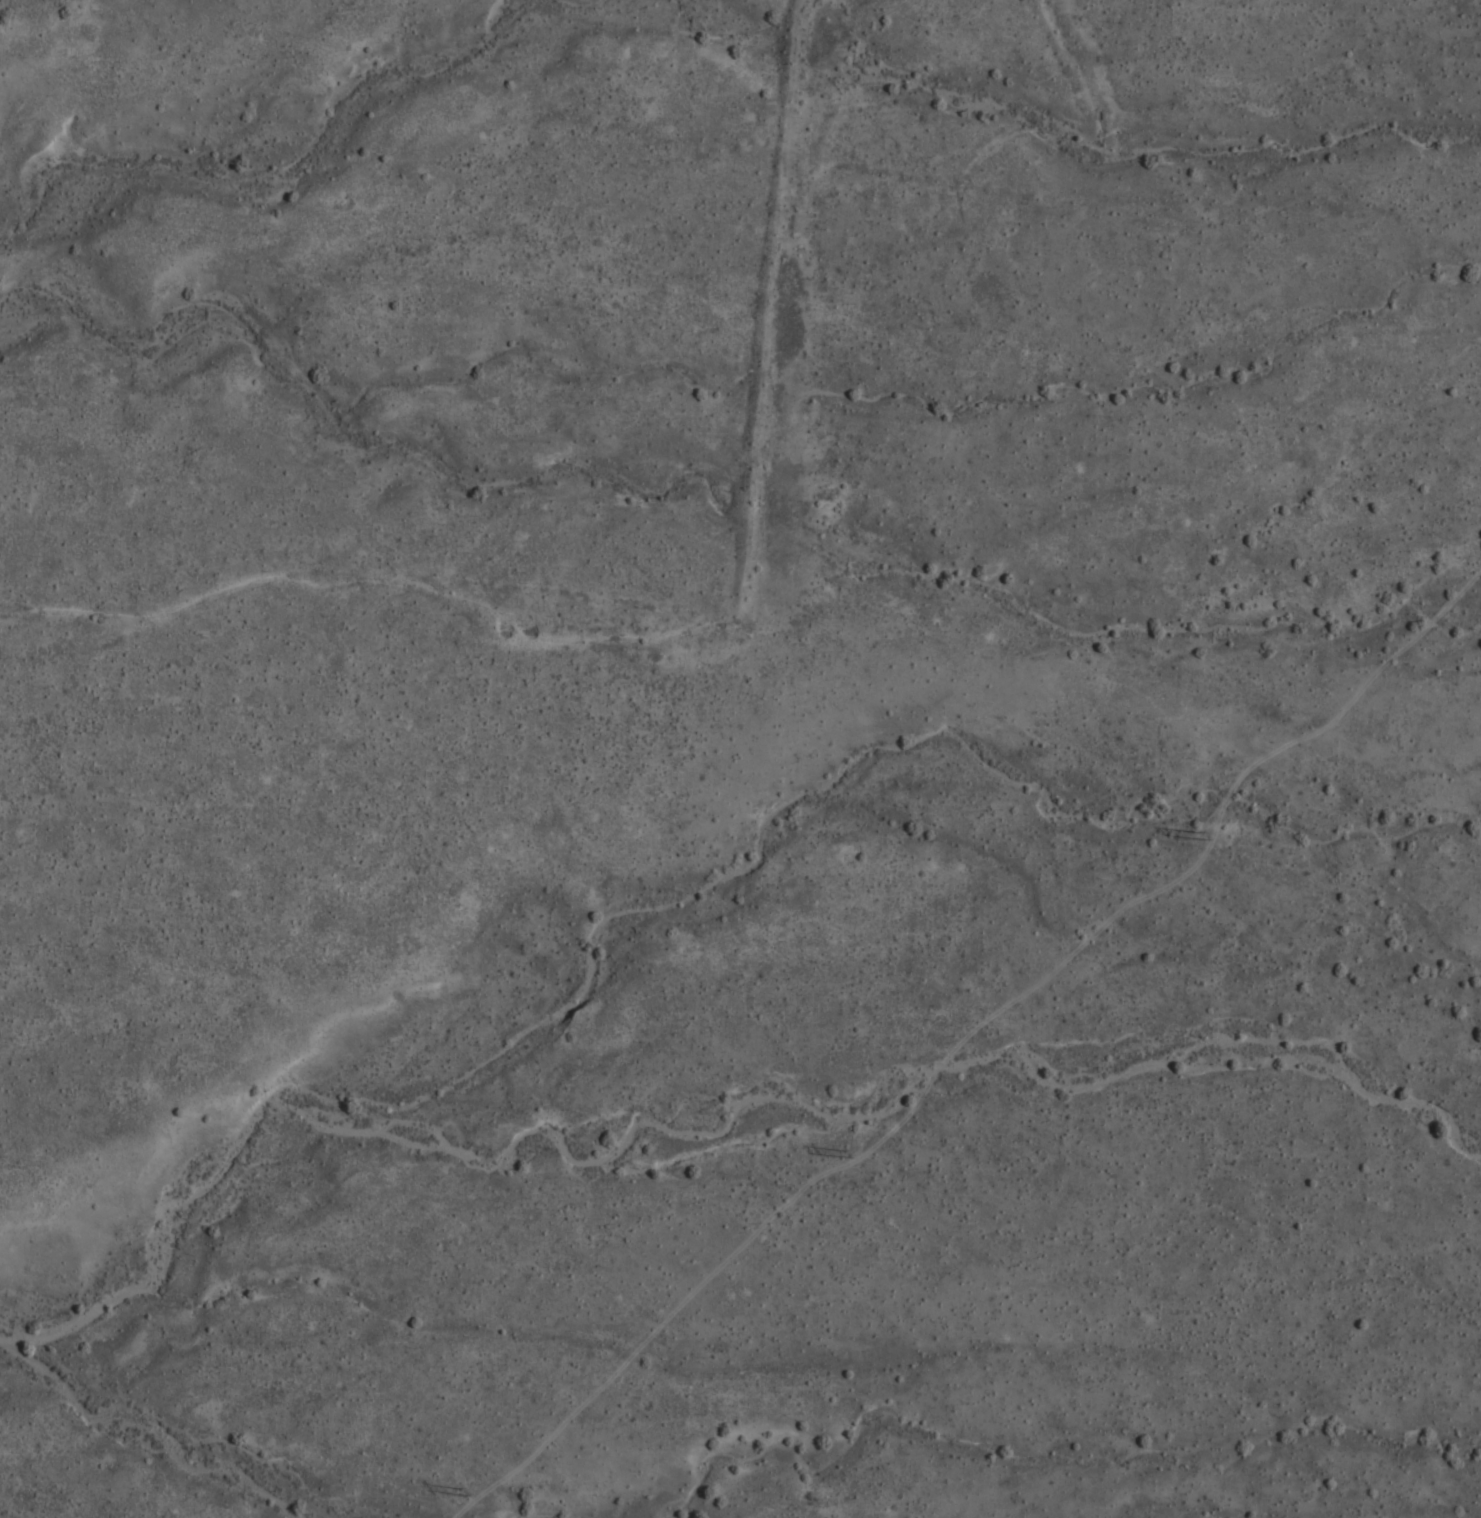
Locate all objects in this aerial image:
power tower: (1206, 838)
power tower: (840, 1152)
power tower: (466, 1494)

